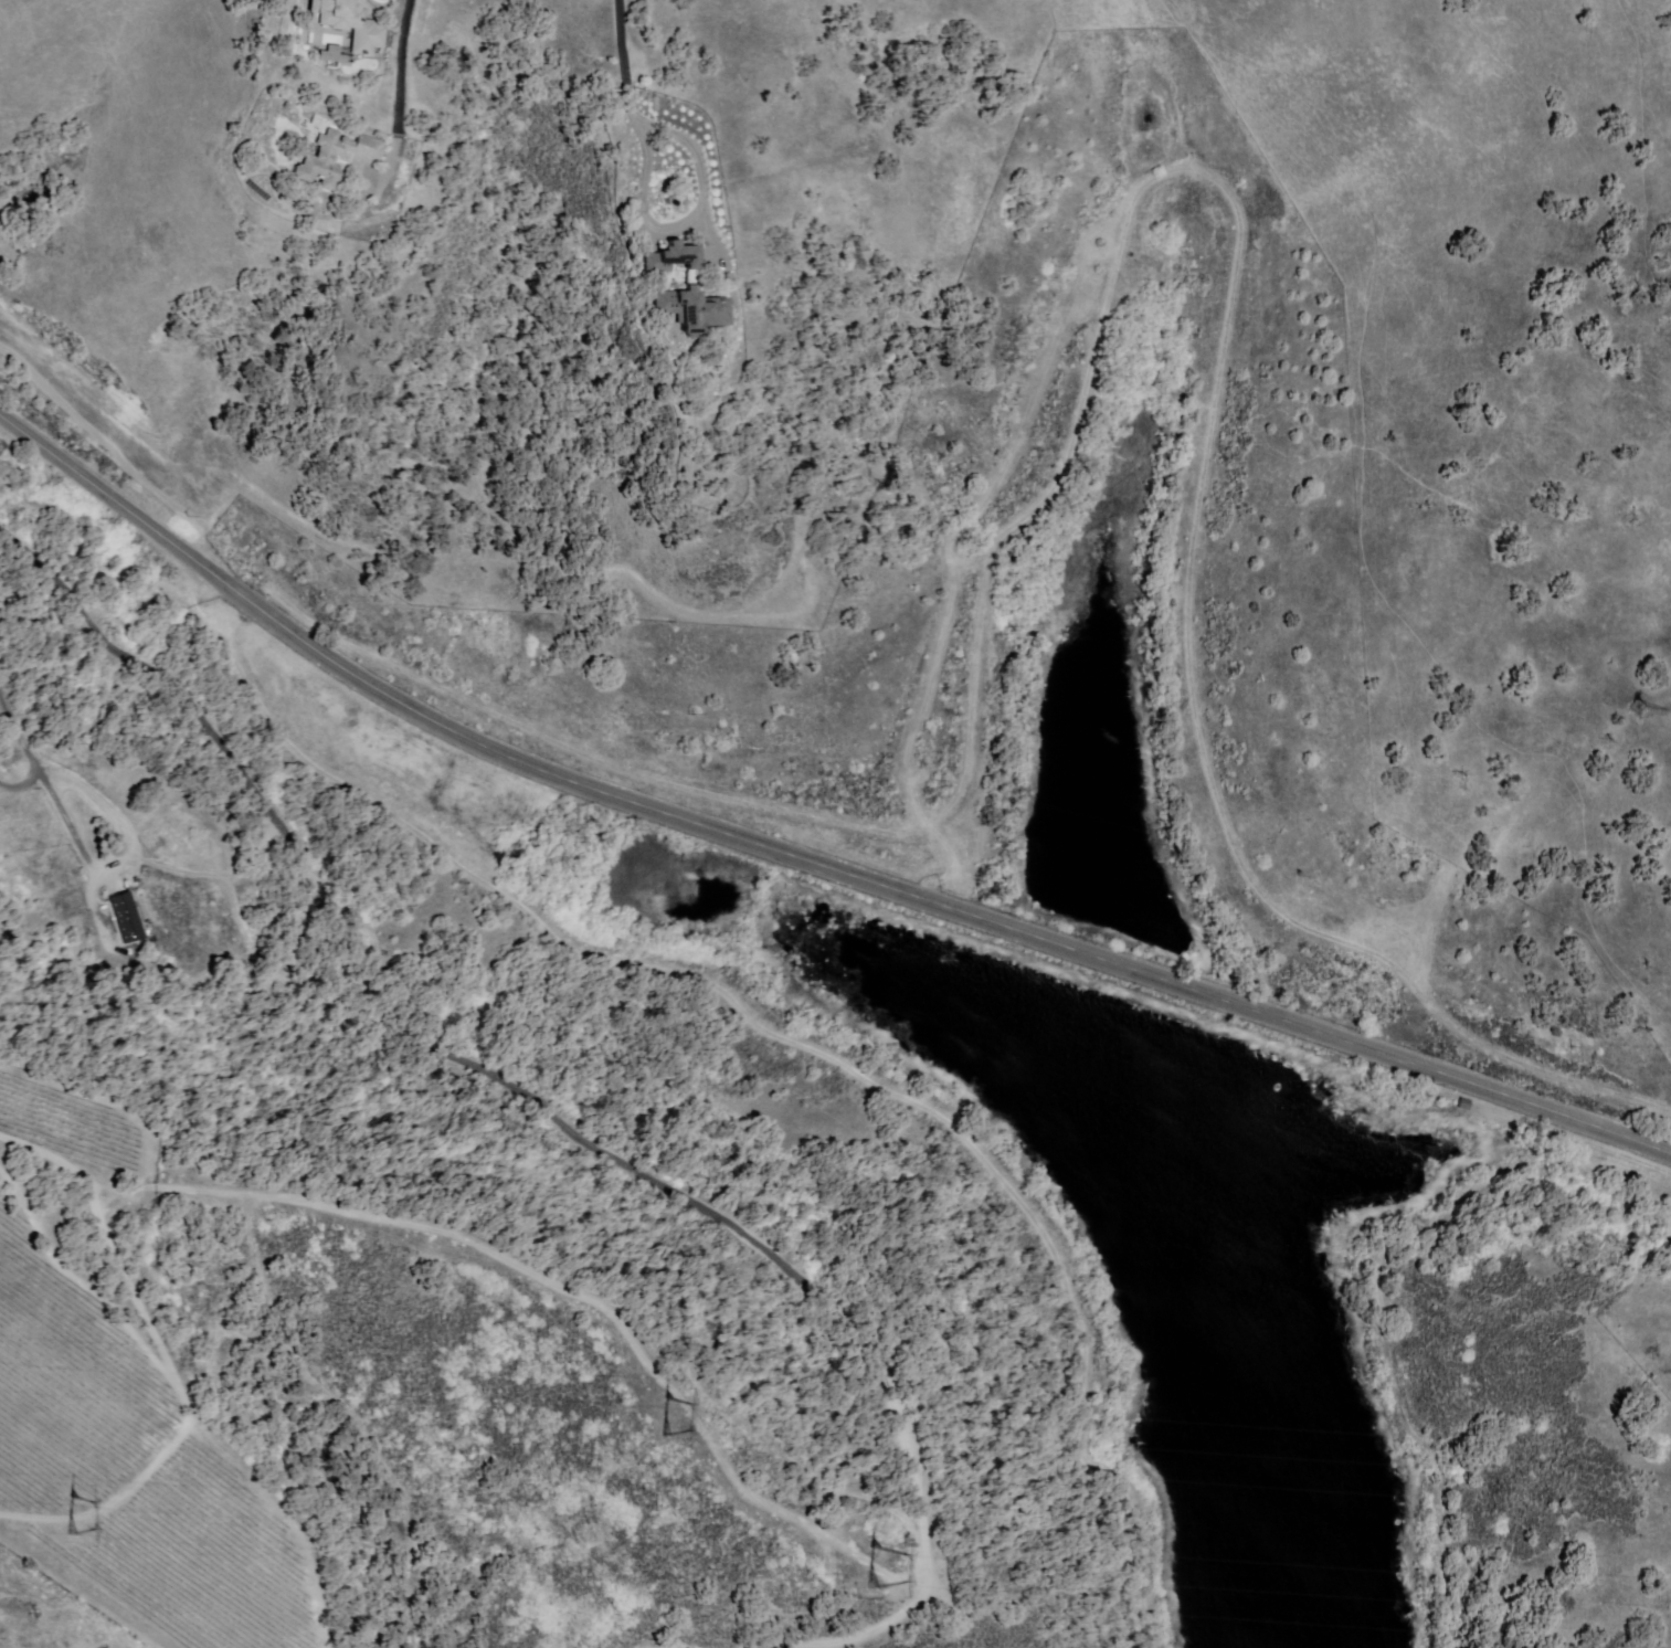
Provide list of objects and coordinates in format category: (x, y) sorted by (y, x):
building: (348, 23)
building: (331, 55)
road: (401, 66)
road: (635, 99)
building: (334, 159)
building: (683, 289)
power tower: (1641, 697)
road: (28, 751)
road: (799, 856)
road: (131, 859)
road: (216, 877)
building: (127, 917)
building: (295, 943)
road: (802, 1044)
road: (466, 1060)
road: (556, 1288)
road: (168, 1361)
power tower: (679, 1426)
power tower: (61, 1511)
power tower: (872, 1560)
road: (875, 1630)

